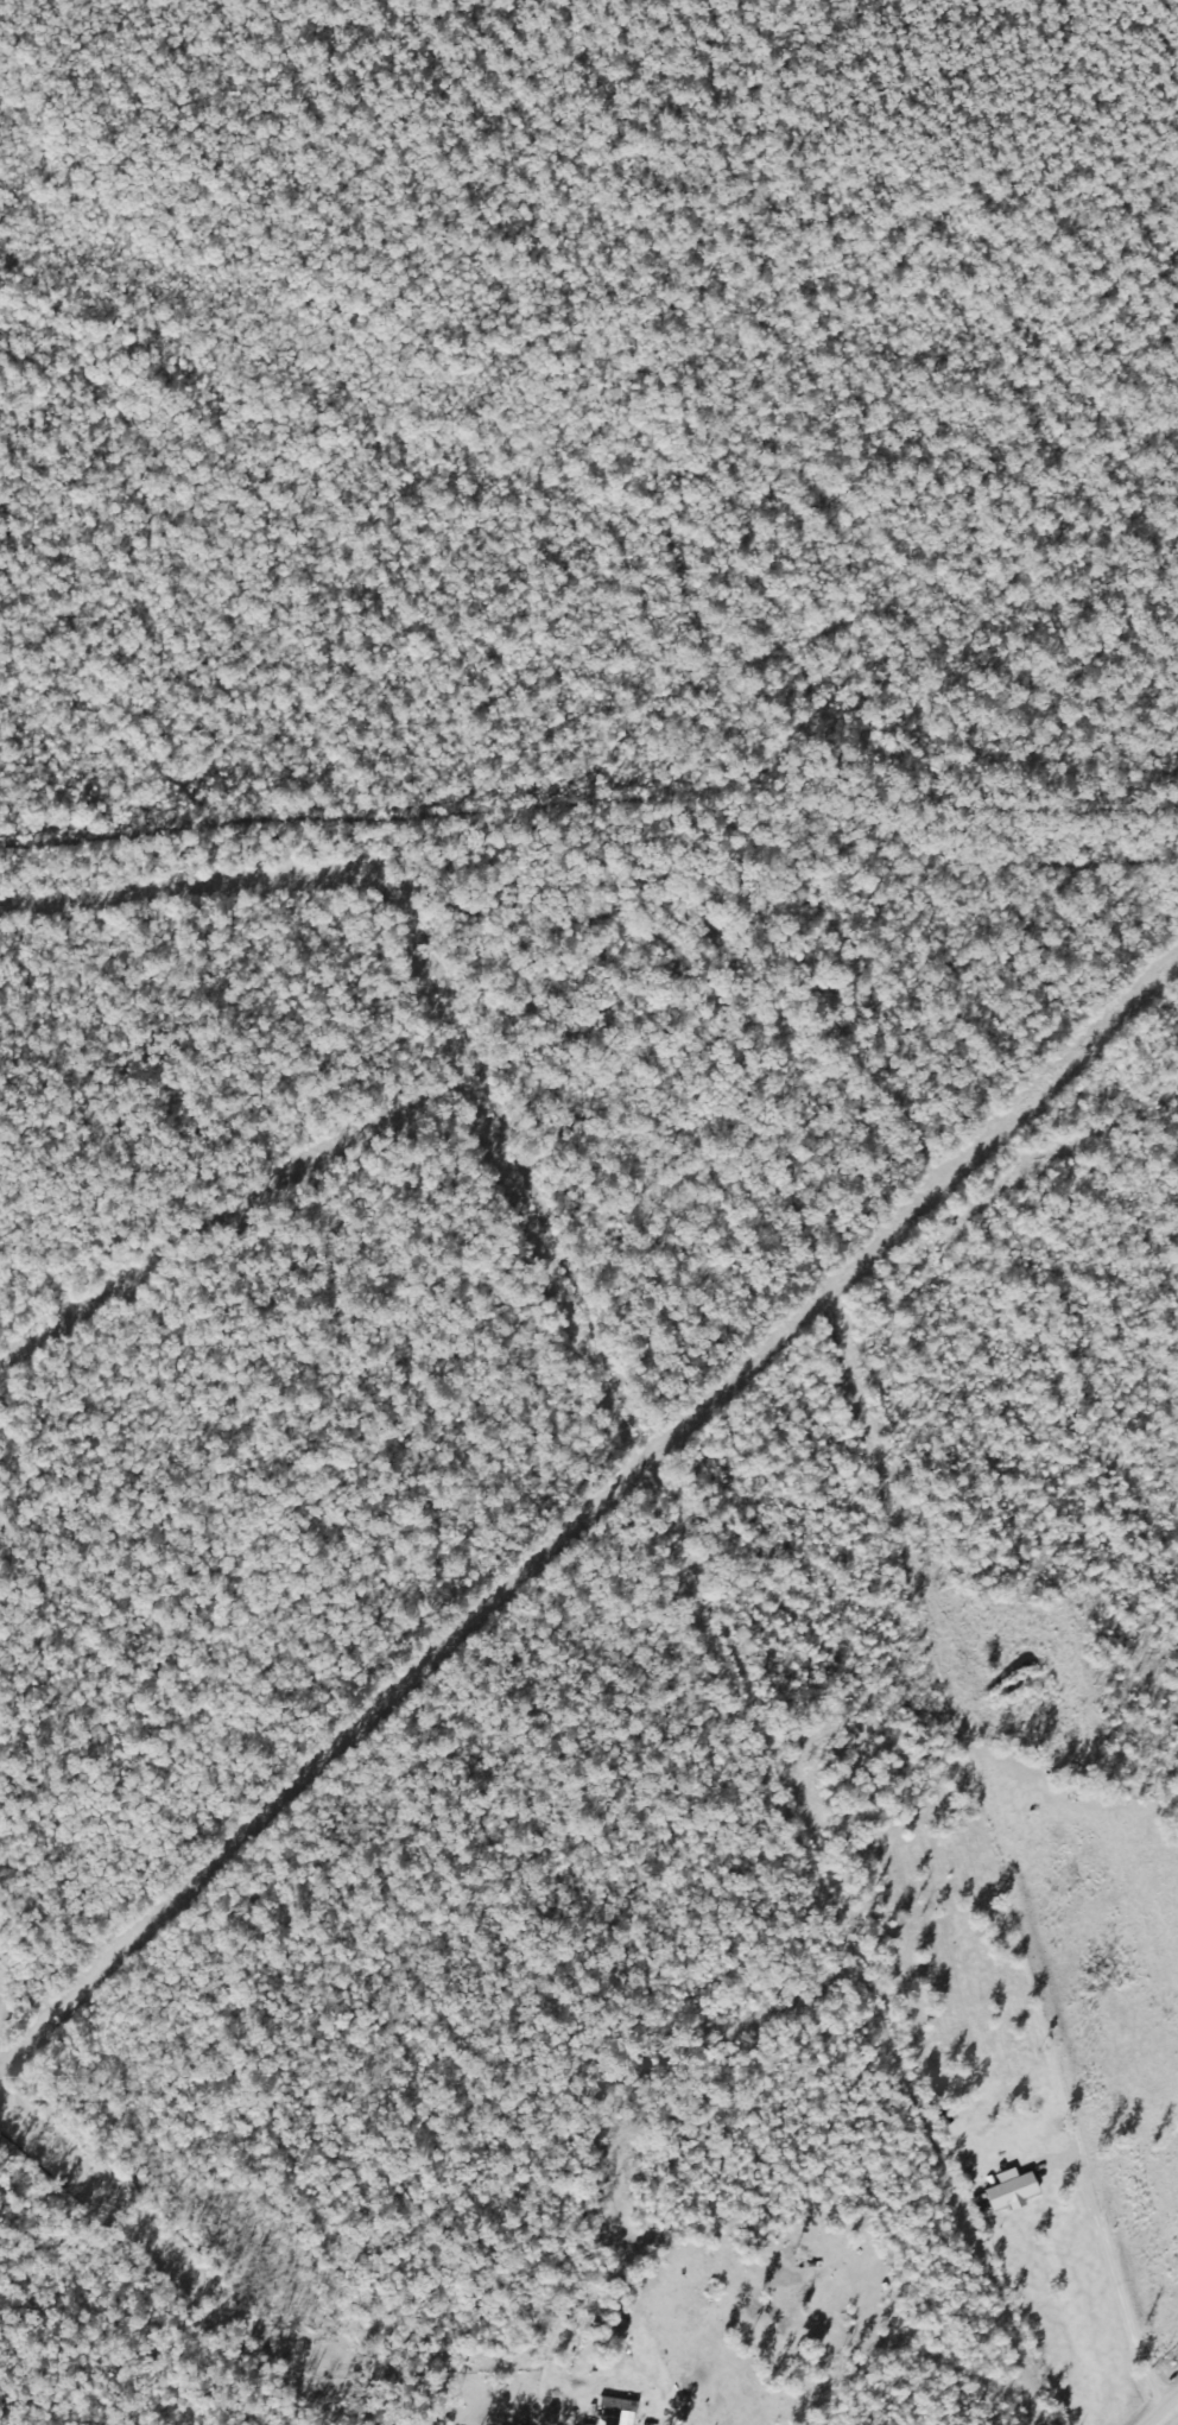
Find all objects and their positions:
building: (1005, 2190)
road: (1115, 2277)
road: (1160, 2408)

